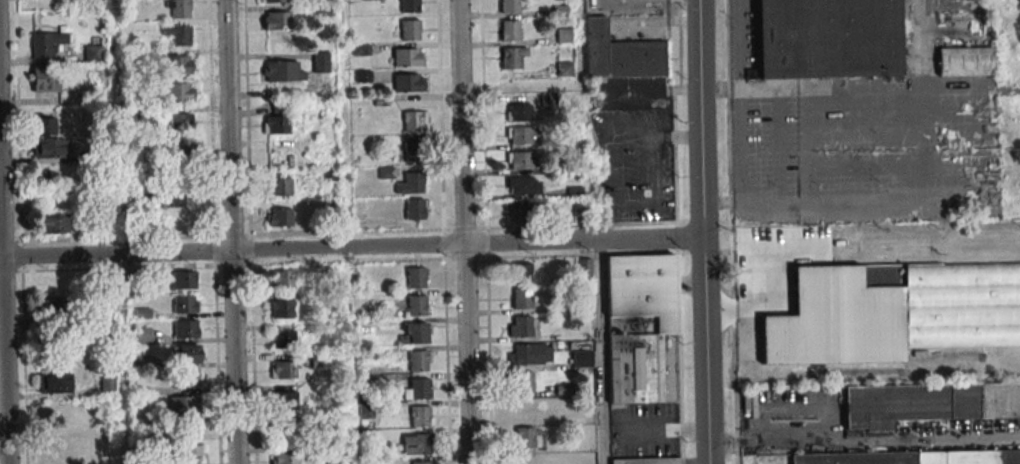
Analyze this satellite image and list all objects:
building: (272, 1)
building: (409, 6)
building: (509, 6)
building: (179, 8)
building: (275, 20)
building: (409, 30)
building: (510, 30)
building: (178, 34)
building: (564, 36)
building: (828, 38)
road: (576, 43)
building: (46, 45)
building: (92, 52)
building: (620, 54)
building: (407, 57)
building: (512, 57)
building: (321, 61)
building: (966, 61)
building: (179, 65)
building: (564, 69)
building: (281, 71)
building: (45, 78)
building: (408, 83)
road: (494, 88)
building: (179, 92)
building: (549, 100)
building: (519, 112)
building: (278, 118)
building: (414, 121)
building: (181, 122)
building: (44, 123)
building: (523, 135)
building: (183, 144)
building: (51, 148)
building: (413, 151)
building: (522, 160)
parking lot: (634, 164)
building: (412, 183)
building: (523, 185)
building: (279, 186)
building: (143, 194)
building: (184, 199)
building: (414, 209)
building: (519, 211)
building: (279, 217)
building: (54, 223)
road: (118, 231)
road: (347, 231)
road: (732, 231)
road: (229, 232)
road: (463, 232)
road: (702, 232)
road: (351, 247)
road: (582, 254)
building: (584, 265)
building: (528, 271)
building: (416, 277)
building: (282, 279)
building: (182, 280)
building: (524, 299)
building: (185, 304)
building: (418, 305)
building: (51, 307)
building: (281, 309)
building: (892, 313)
road: (3, 323)
building: (521, 326)
building: (187, 329)
building: (642, 329)
road: (216, 331)
building: (416, 333)
building: (143, 335)
building: (283, 339)
road: (253, 349)
road: (602, 352)
building: (186, 354)
building: (530, 354)
road: (680, 358)
building: (582, 359)
building: (419, 360)
building: (283, 369)
building: (187, 379)
building: (55, 382)
building: (523, 382)
building: (107, 384)
building: (563, 387)
building: (418, 389)
building: (286, 399)
building: (183, 405)
building: (930, 405)
building: (522, 409)
building: (580, 413)
building: (420, 416)
building: (287, 433)
building: (525, 437)
road: (863, 439)
building: (416, 443)
building: (188, 453)
building: (284, 458)
building: (912, 458)
building: (647, 460)
building: (423, 462)

